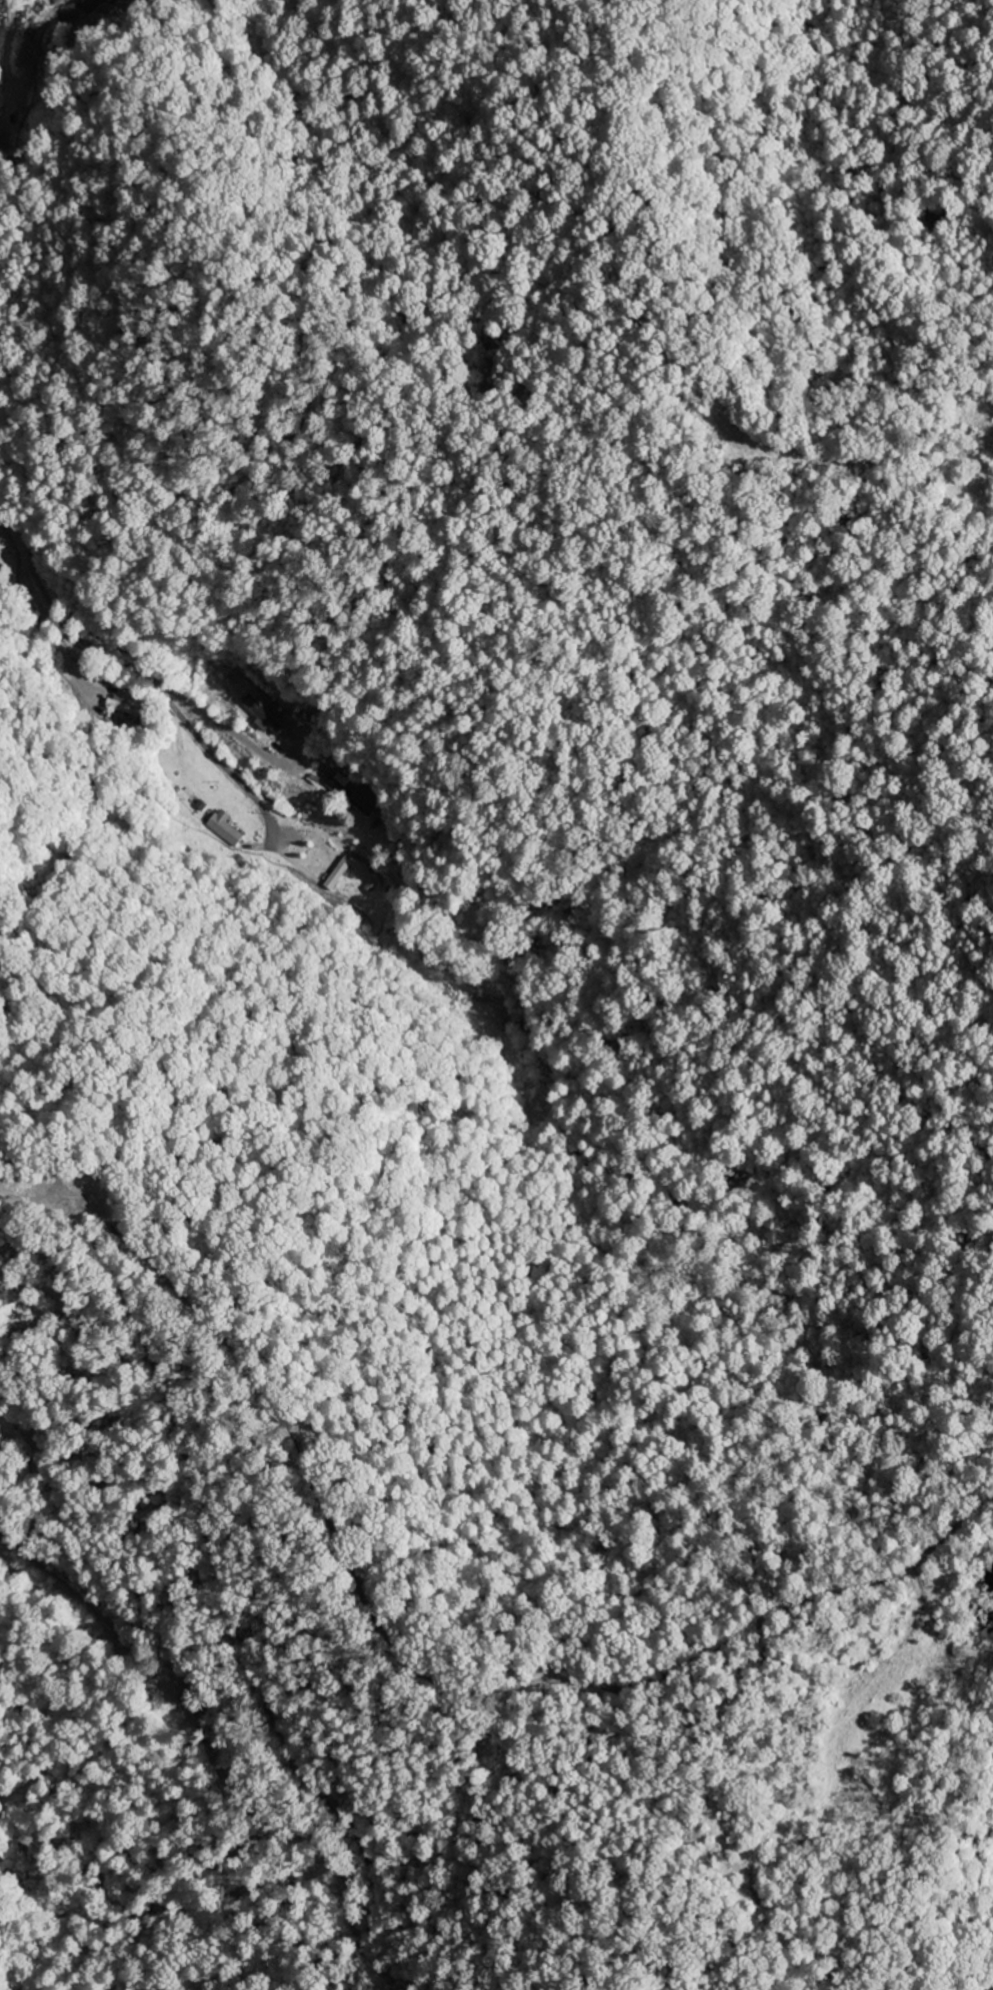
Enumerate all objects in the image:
building: (0, 567)
road: (145, 672)
building: (121, 706)
building: (260, 715)
building: (362, 802)
building: (223, 829)
building: (338, 870)
road: (197, 1572)

